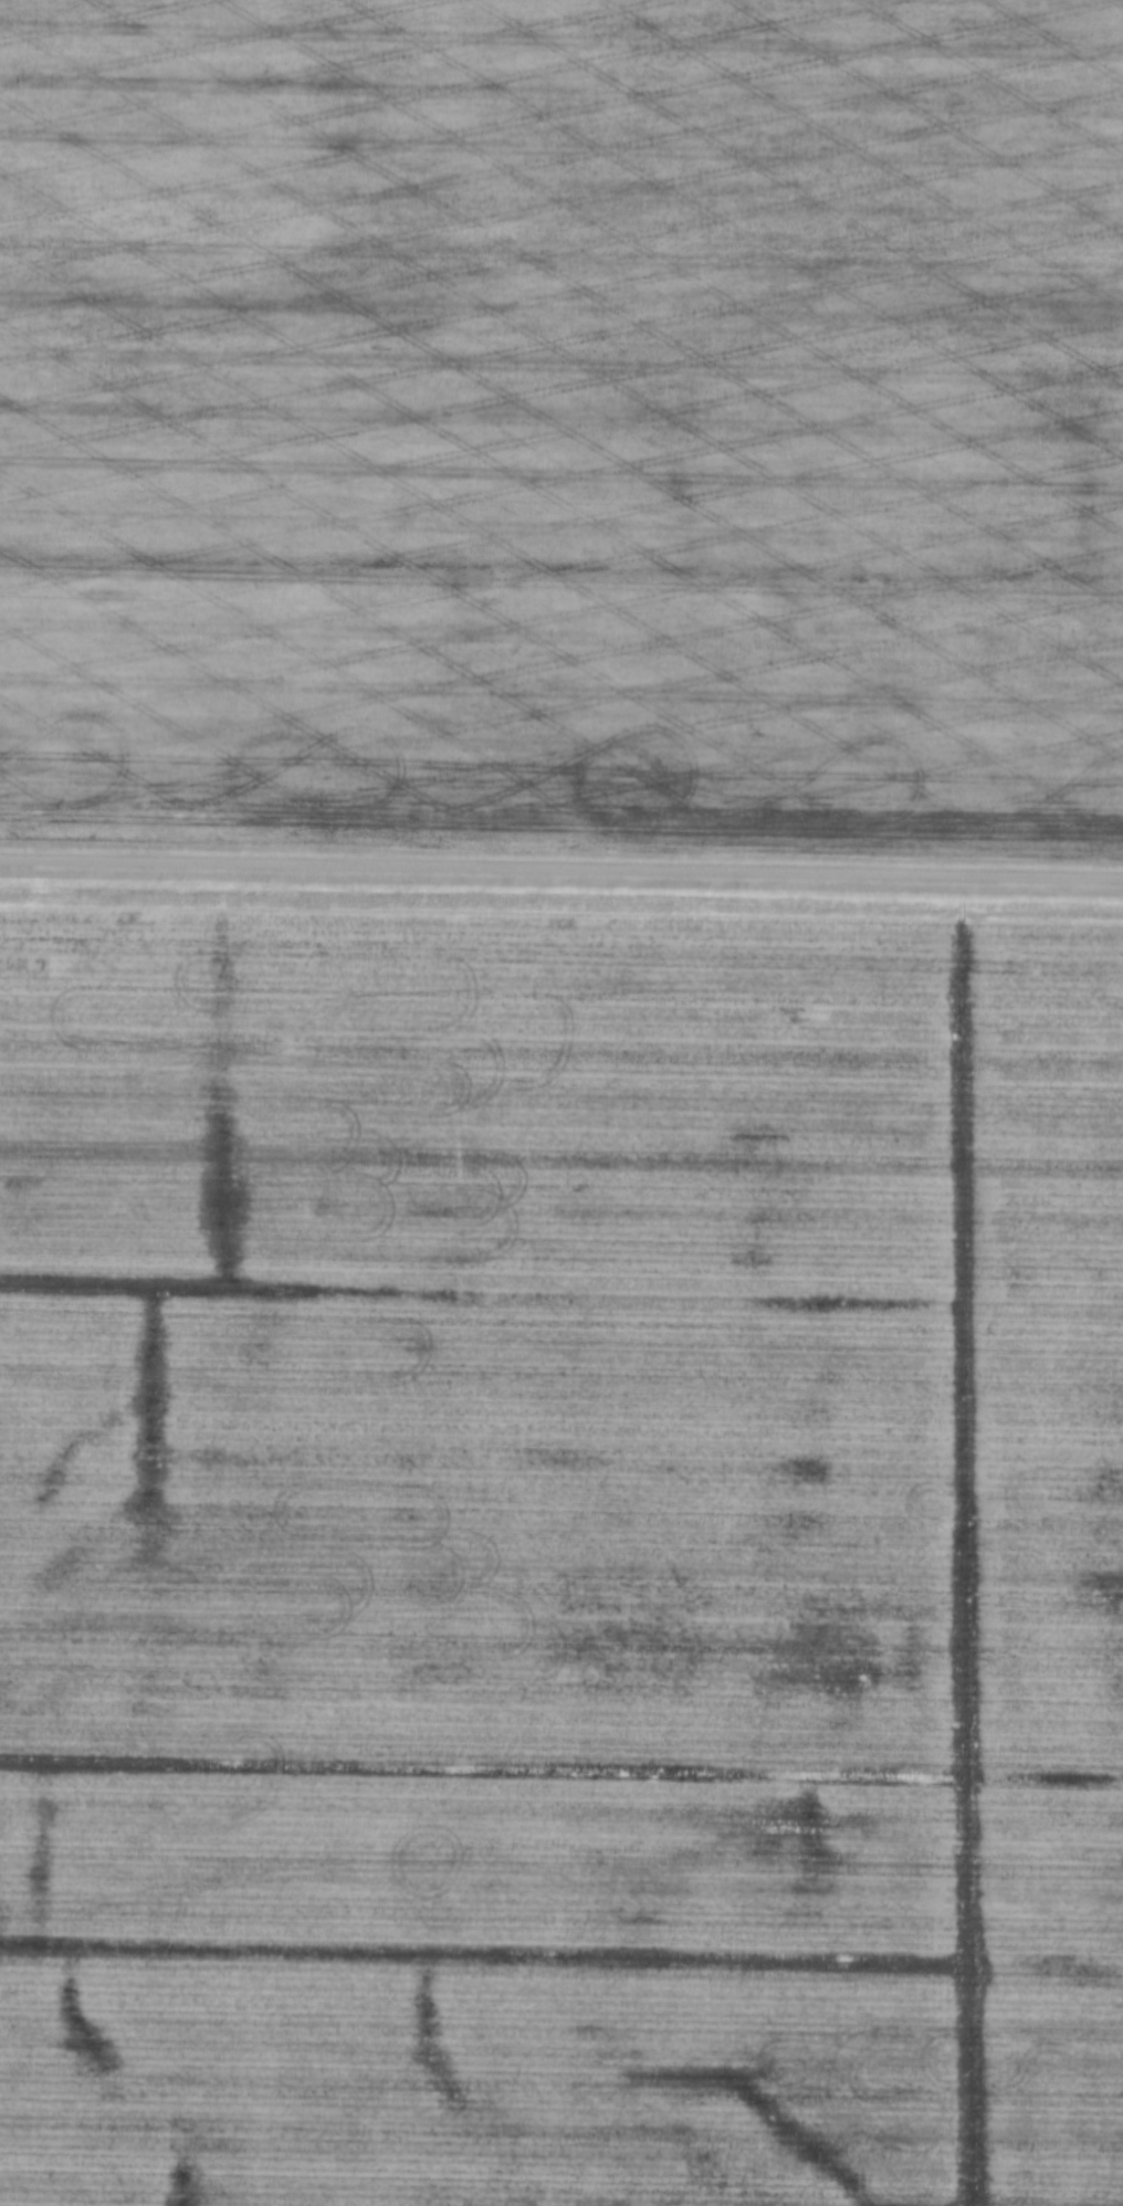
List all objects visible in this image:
road: (561, 869)

